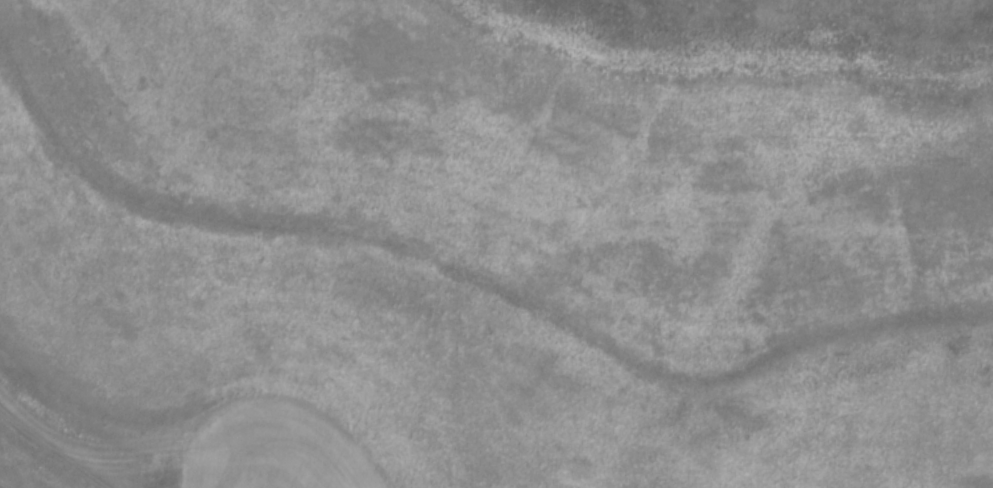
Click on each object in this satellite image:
crop: (170, 445)

